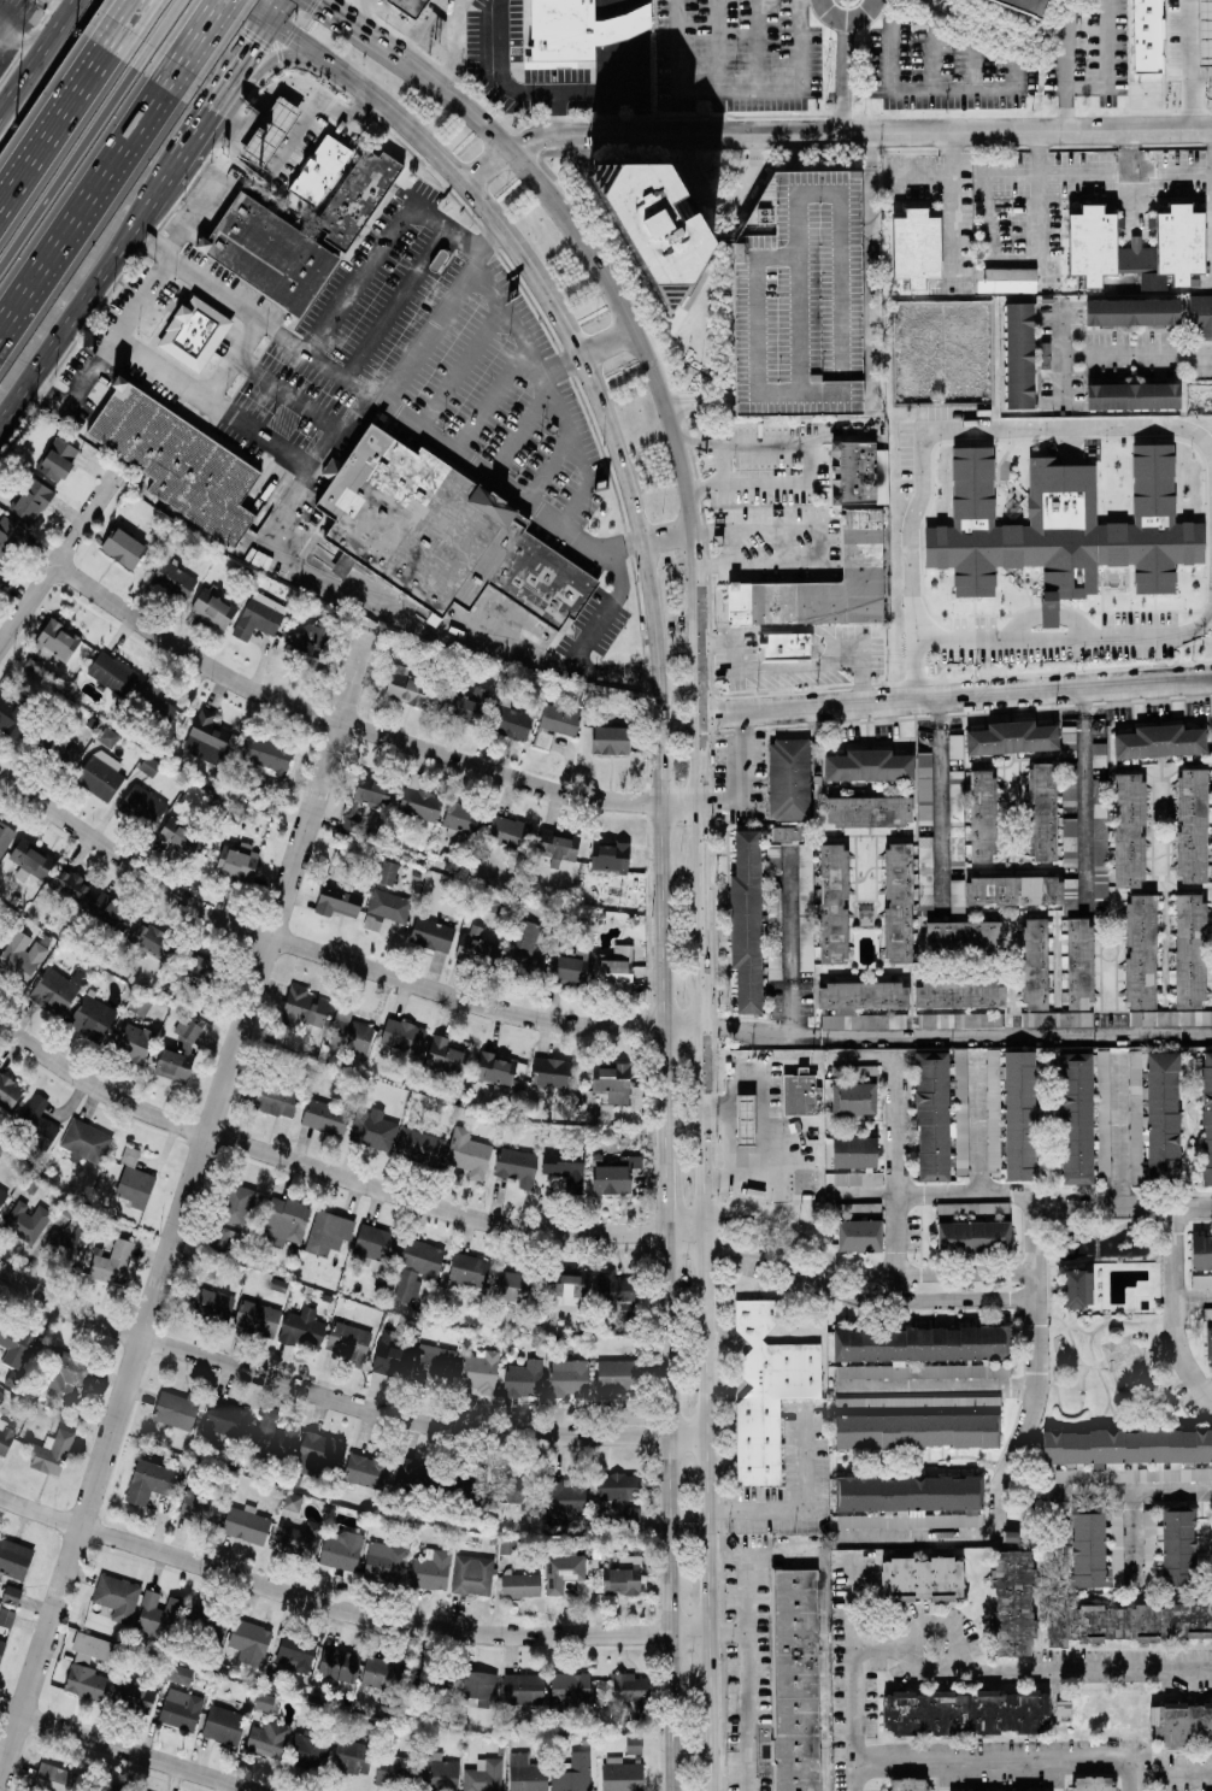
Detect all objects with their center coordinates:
building: (408, 6)
building: (1018, 6)
road: (257, 12)
road: (283, 12)
road: (140, 16)
road: (361, 16)
road: (339, 19)
road: (846, 22)
road: (405, 23)
road: (171, 25)
traffic signals: (275, 25)
building: (578, 28)
road: (219, 29)
building: (1205, 31)
road: (12, 34)
road: (212, 36)
road: (29, 42)
road: (454, 48)
road: (257, 51)
road: (273, 55)
building: (1146, 55)
road: (40, 59)
road: (1065, 64)
road: (1189, 64)
road: (1107, 65)
road: (717, 66)
road: (492, 69)
road: (619, 70)
road: (845, 76)
road: (798, 83)
road: (571, 89)
road: (994, 89)
road: (66, 112)
road: (602, 112)
road: (204, 129)
building: (288, 129)
building: (270, 131)
road: (830, 131)
road: (871, 158)
road: (77, 163)
building: (320, 170)
road: (448, 171)
road: (1130, 178)
road: (949, 183)
road: (1, 193)
road: (1, 194)
building: (357, 198)
road: (1039, 202)
road: (94, 212)
building: (642, 216)
road: (388, 237)
building: (916, 247)
building: (1136, 247)
building: (261, 252)
building: (1006, 279)
building: (796, 295)
parking lot: (796, 295)
road: (396, 301)
road: (83, 304)
building: (1132, 312)
building: (1200, 316)
building: (192, 331)
road: (428, 335)
road: (605, 347)
road: (1060, 354)
road: (1136, 354)
building: (1019, 355)
road: (234, 364)
road: (459, 365)
road: (552, 379)
building: (1134, 396)
road: (492, 397)
road: (382, 402)
road: (528, 412)
road: (334, 432)
road: (989, 432)
building: (175, 458)
building: (58, 459)
road: (808, 460)
road: (722, 465)
building: (859, 473)
building: (31, 500)
building: (1063, 526)
building: (440, 531)
road: (665, 536)
building: (10, 537)
road: (819, 542)
road: (287, 546)
building: (123, 547)
road: (59, 558)
building: (0, 567)
building: (173, 579)
building: (824, 583)
building: (213, 608)
road: (608, 611)
building: (1049, 613)
building: (259, 615)
building: (55, 641)
building: (311, 643)
road: (1069, 643)
building: (786, 646)
road: (790, 671)
building: (112, 672)
road: (912, 674)
building: (406, 687)
road: (955, 699)
building: (154, 700)
building: (464, 706)
building: (12, 717)
building: (559, 719)
building: (511, 720)
road: (360, 727)
building: (107, 736)
building: (206, 737)
building: (1012, 737)
building: (610, 740)
building: (1160, 741)
building: (59, 742)
building: (955, 746)
road: (657, 749)
building: (267, 753)
building: (867, 765)
building: (101, 774)
building: (789, 779)
building: (924, 789)
building: (372, 790)
building: (419, 800)
road: (1084, 800)
building: (142, 806)
road: (941, 808)
building: (869, 811)
building: (1042, 812)
building: (983, 814)
building: (957, 815)
building: (463, 817)
building: (1192, 825)
building: (349, 829)
building: (1129, 830)
building: (508, 832)
building: (788, 832)
building: (176, 835)
building: (5, 836)
building: (1100, 837)
building: (557, 844)
building: (610, 856)
road: (698, 856)
building: (30, 859)
building: (237, 861)
building: (926, 867)
building: (387, 872)
building: (805, 878)
building: (70, 886)
building: (1005, 891)
building: (339, 901)
building: (832, 902)
building: (898, 902)
building: (386, 909)
building: (108, 912)
building: (747, 921)
building: (773, 932)
building: (431, 933)
building: (964, 935)
building: (151, 939)
road: (789, 942)
building: (524, 943)
building: (806, 943)
building: (476, 947)
building: (1190, 950)
building: (1141, 952)
road: (330, 955)
building: (20, 956)
building: (1035, 964)
building: (1079, 964)
building: (198, 965)
building: (570, 965)
building: (613, 967)
building: (54, 990)
building: (959, 994)
building: (858, 1001)
building: (139, 1006)
building: (304, 1007)
building: (93, 1017)
building: (1170, 1018)
building: (1057, 1019)
building: (896, 1020)
building: (959, 1020)
building: (352, 1035)
building: (402, 1035)
road: (1017, 1035)
road: (760, 1037)
building: (134, 1043)
building: (180, 1051)
building: (445, 1054)
road: (864, 1055)
building: (495, 1068)
building: (552, 1072)
building: (617, 1084)
building: (854, 1090)
building: (8, 1091)
building: (799, 1092)
road: (730, 1095)
building: (275, 1100)
building: (993, 1109)
building: (960, 1112)
building: (1020, 1114)
building: (1104, 1114)
building: (1154, 1115)
building: (325, 1117)
building: (932, 1117)
building: (1076, 1118)
building: (746, 1119)
road: (978, 1120)
building: (1207, 1120)
building: (37, 1121)
road: (1122, 1130)
building: (373, 1131)
building: (417, 1139)
building: (86, 1141)
building: (854, 1151)
building: (469, 1153)
road: (767, 1156)
building: (516, 1166)
building: (565, 1167)
road: (320, 1170)
building: (613, 1173)
building: (858, 1178)
road: (899, 1178)
building: (134, 1180)
road: (667, 1191)
road: (936, 1191)
building: (2, 1195)
road: (778, 1201)
building: (239, 1204)
road: (1125, 1206)
building: (854, 1207)
road: (184, 1209)
building: (27, 1220)
building: (284, 1220)
road: (684, 1230)
building: (328, 1232)
building: (859, 1235)
building: (973, 1237)
building: (218, 1238)
building: (376, 1242)
building: (66, 1244)
building: (1201, 1253)
road: (1036, 1254)
building: (112, 1262)
building: (208, 1267)
building: (417, 1267)
building: (469, 1269)
road: (860, 1272)
building: (1201, 1280)
building: (510, 1286)
building: (571, 1288)
building: (1078, 1288)
road: (1194, 1296)
building: (618, 1298)
road: (859, 1300)
building: (211, 1302)
road: (1177, 1309)
building: (1207, 1313)
building: (257, 1316)
building: (301, 1327)
building: (349, 1342)
building: (1208, 1342)
building: (14, 1344)
building: (919, 1351)
building: (479, 1371)
building: (67, 1372)
building: (617, 1375)
building: (524, 1378)
building: (569, 1378)
building: (766, 1388)
road: (935, 1388)
road: (342, 1400)
building: (176, 1409)
building: (225, 1418)
building: (917, 1421)
building: (6, 1436)
building: (273, 1436)
building: (51, 1453)
building: (319, 1454)
building: (1125, 1455)
building: (365, 1471)
building: (412, 1474)
building: (148, 1481)
building: (618, 1486)
building: (518, 1489)
road: (1104, 1491)
road: (995, 1492)
building: (565, 1500)
building: (292, 1501)
building: (908, 1501)
road: (802, 1503)
building: (200, 1507)
road: (666, 1509)
building: (614, 1512)
building: (245, 1524)
building: (300, 1539)
road: (1134, 1542)
building: (507, 1545)
building: (1096, 1546)
building: (1170, 1546)
building: (341, 1550)
road: (787, 1554)
building: (384, 1556)
building: (14, 1559)
building: (431, 1569)
building: (561, 1572)
building: (472, 1574)
building: (922, 1578)
building: (520, 1585)
building: (12, 1593)
building: (117, 1597)
building: (1013, 1603)
road: (346, 1608)
building: (160, 1615)
building: (6, 1616)
building: (1125, 1621)
road: (931, 1622)
road: (728, 1633)
building: (251, 1642)
road: (882, 1645)
building: (1, 1648)
building: (90, 1648)
building: (295, 1652)
road: (855, 1660)
building: (339, 1665)
road: (1081, 1669)
road: (748, 1672)
road: (826, 1672)
building: (382, 1673)
building: (180, 1674)
building: (798, 1679)
building: (84, 1681)
building: (273, 1681)
building: (479, 1687)
building: (570, 1687)
building: (523, 1689)
building: (141, 1696)
building: (264, 1701)
building: (181, 1709)
building: (965, 1712)
building: (1141, 1715)
building: (223, 1725)
building: (267, 1739)
building: (634, 1744)
road: (129, 1750)
building: (308, 1750)
building: (352, 1757)
road: (1008, 1761)
building: (394, 1771)
building: (442, 1772)
road: (1192, 1772)
building: (526, 1773)
building: (573, 1774)
building: (483, 1775)
building: (622, 1777)
road: (855, 1777)
building: (55, 1778)
building: (1093, 1783)
building: (907, 1784)

